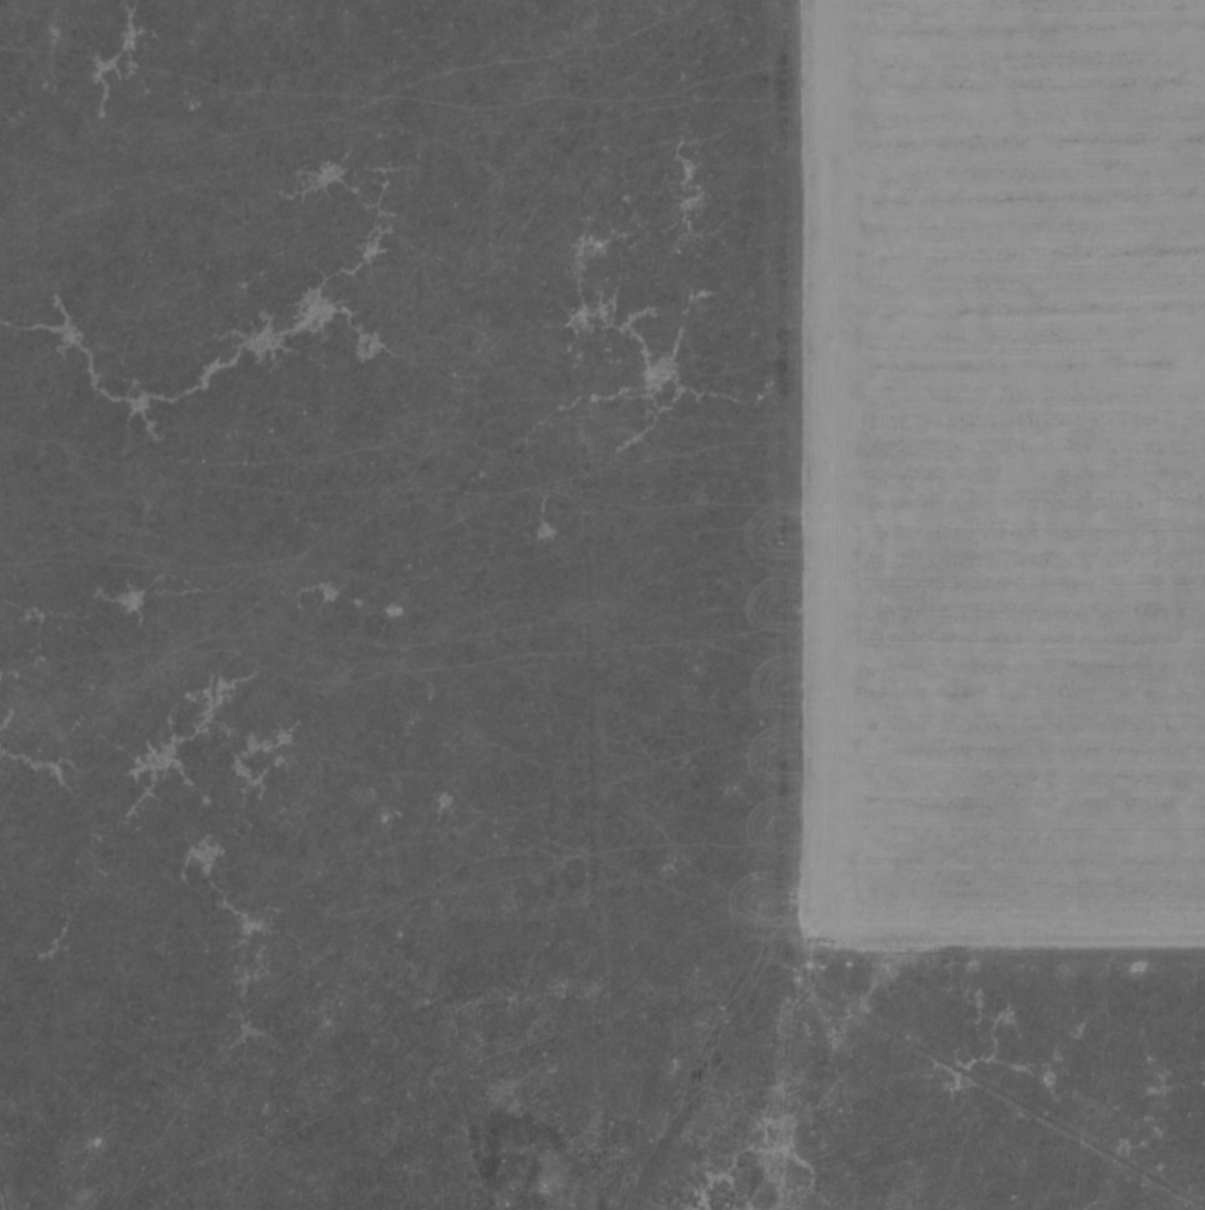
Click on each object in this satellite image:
road: (897, 1016)

